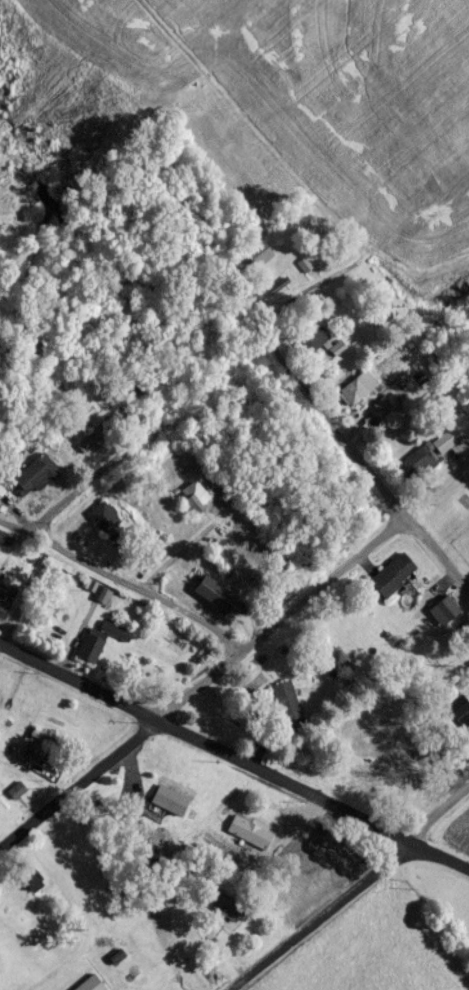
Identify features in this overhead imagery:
building: (259, 264)
road: (219, 278)
building: (314, 348)
building: (351, 399)
building: (135, 401)
building: (78, 429)
building: (86, 448)
road: (124, 450)
building: (449, 451)
building: (413, 472)
road: (365, 476)
building: (34, 482)
building: (192, 504)
building: (101, 525)
building: (390, 582)
road: (121, 585)
building: (5, 599)
road: (467, 600)
building: (213, 603)
building: (441, 618)
building: (88, 653)
road: (231, 659)
building: (286, 713)
building: (457, 719)
building: (468, 741)
road: (205, 752)
building: (167, 808)
building: (248, 840)
road: (440, 864)
building: (327, 879)
building: (26, 885)
road: (355, 894)
building: (224, 914)
building: (89, 987)

